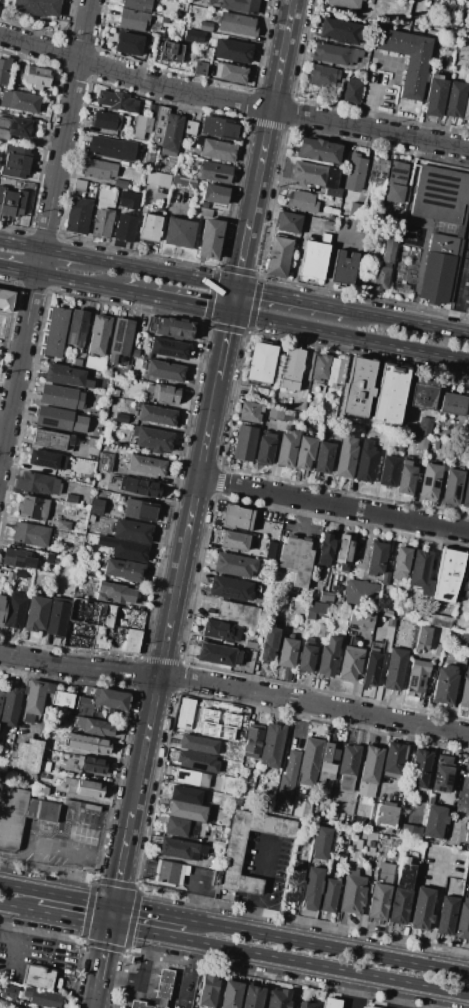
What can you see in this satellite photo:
building: (344, 3)
building: (138, 5)
building: (240, 6)
building: (37, 7)
building: (133, 20)
building: (237, 24)
building: (206, 26)
building: (340, 31)
building: (149, 38)
building: (128, 41)
building: (233, 51)
building: (170, 52)
building: (146, 53)
building: (334, 54)
building: (407, 58)
building: (360, 64)
building: (199, 68)
building: (4, 70)
building: (233, 73)
building: (36, 76)
building: (323, 77)
building: (351, 91)
building: (435, 96)
building: (455, 99)
road: (232, 100)
road: (371, 100)
building: (19, 101)
building: (118, 101)
building: (466, 108)
road: (272, 109)
building: (106, 121)
building: (142, 126)
building: (14, 127)
building: (190, 127)
building: (221, 128)
building: (167, 131)
building: (112, 148)
building: (216, 149)
building: (319, 151)
building: (16, 161)
building: (99, 169)
building: (215, 172)
building: (354, 172)
building: (378, 174)
building: (396, 176)
building: (316, 177)
building: (158, 179)
building: (183, 183)
building: (120, 184)
building: (79, 185)
building: (215, 194)
building: (443, 195)
building: (396, 197)
building: (302, 201)
building: (11, 202)
building: (356, 211)
building: (205, 212)
building: (78, 215)
building: (103, 222)
building: (288, 222)
road: (161, 225)
building: (328, 225)
building: (150, 227)
building: (126, 228)
building: (179, 232)
road: (44, 234)
building: (210, 238)
building: (324, 238)
road: (21, 243)
building: (388, 249)
road: (64, 253)
road: (242, 253)
road: (329, 254)
building: (278, 256)
building: (313, 259)
building: (442, 267)
building: (343, 268)
road: (18, 269)
road: (160, 272)
building: (374, 278)
road: (78, 281)
traffic signals: (235, 287)
road: (461, 295)
road: (292, 298)
road: (232, 299)
building: (6, 301)
road: (174, 301)
building: (467, 309)
traffic signals: (229, 312)
road: (408, 322)
building: (170, 327)
building: (77, 328)
building: (55, 332)
building: (99, 333)
road: (349, 336)
building: (120, 339)
road: (222, 346)
building: (169, 348)
building: (135, 353)
building: (76, 362)
building: (261, 363)
building: (321, 367)
building: (292, 369)
building: (337, 370)
building: (165, 371)
building: (121, 372)
road: (305, 372)
building: (64, 374)
building: (358, 387)
building: (115, 393)
building: (164, 393)
building: (423, 393)
building: (390, 394)
building: (60, 396)
building: (452, 403)
building: (249, 412)
building: (281, 414)
building: (156, 415)
building: (121, 418)
building: (60, 419)
building: (321, 419)
building: (422, 426)
road: (3, 438)
building: (51, 439)
building: (152, 439)
building: (94, 443)
building: (244, 443)
building: (422, 444)
building: (443, 447)
building: (287, 448)
building: (399, 448)
building: (265, 449)
building: (305, 452)
building: (346, 456)
building: (323, 457)
building: (46, 459)
building: (366, 461)
building: (146, 465)
building: (390, 471)
building: (406, 478)
building: (429, 482)
building: (38, 484)
building: (139, 487)
building: (452, 487)
building: (465, 491)
road: (47, 494)
building: (71, 498)
road: (332, 504)
building: (96, 506)
building: (34, 508)
building: (140, 511)
building: (237, 517)
road: (302, 517)
building: (91, 518)
building: (63, 525)
building: (131, 531)
building: (30, 534)
building: (236, 541)
building: (123, 549)
building: (325, 549)
building: (345, 549)
building: (269, 550)
building: (16, 557)
building: (376, 558)
building: (52, 559)
building: (296, 562)
building: (401, 563)
building: (234, 565)
building: (123, 570)
building: (422, 571)
building: (448, 575)
building: (9, 577)
building: (23, 578)
building: (386, 578)
building: (467, 581)
building: (231, 588)
building: (114, 592)
building: (361, 593)
road: (173, 596)
building: (327, 596)
road: (193, 602)
building: (2, 609)
building: (316, 610)
building: (15, 611)
building: (36, 613)
building: (238, 613)
building: (387, 613)
building: (57, 617)
building: (361, 618)
building: (440, 621)
building: (390, 623)
building: (98, 629)
building: (320, 630)
building: (222, 631)
building: (464, 637)
building: (423, 638)
building: (269, 642)
building: (251, 643)
building: (438, 650)
building: (218, 654)
building: (287, 656)
building: (306, 656)
building: (328, 656)
building: (350, 663)
building: (371, 668)
building: (395, 669)
building: (417, 678)
building: (445, 684)
road: (235, 688)
building: (464, 691)
building: (1, 695)
building: (34, 698)
building: (110, 699)
building: (64, 700)
building: (10, 706)
road: (41, 706)
building: (84, 707)
building: (94, 727)
building: (220, 731)
building: (119, 736)
building: (253, 741)
building: (89, 743)
building: (198, 744)
building: (272, 745)
building: (26, 755)
road: (405, 759)
building: (393, 760)
building: (197, 761)
building: (329, 761)
road: (358, 761)
building: (309, 762)
building: (91, 764)
building: (44, 766)
building: (348, 768)
building: (420, 769)
building: (370, 771)
building: (69, 773)
building: (442, 773)
building: (191, 778)
building: (288, 779)
building: (42, 788)
building: (83, 788)
building: (185, 794)
building: (80, 805)
building: (299, 807)
building: (186, 811)
building: (20, 814)
building: (384, 816)
building: (435, 821)
building: (180, 827)
building: (410, 831)
building: (354, 834)
building: (345, 835)
building: (321, 843)
building: (371, 844)
building: (358, 846)
building: (180, 849)
road: (120, 857)
building: (232, 857)
road: (137, 865)
building: (169, 872)
road: (171, 872)
building: (294, 883)
road: (266, 885)
building: (312, 888)
building: (402, 891)
road: (55, 892)
road: (192, 893)
building: (353, 893)
building: (329, 896)
building: (380, 897)
traffic signals: (112, 903)
road: (435, 908)
road: (15, 909)
building: (421, 909)
road: (150, 910)
road: (109, 915)
building: (447, 916)
road: (69, 920)
building: (463, 921)
traffic signals: (107, 928)
road: (4, 934)
road: (329, 945)
road: (146, 958)
road: (101, 961)
road: (288, 962)
road: (188, 966)
road: (120, 976)
building: (37, 977)
road: (149, 981)
road: (163, 984)
road: (177, 986)
building: (157, 991)
building: (208, 991)
building: (10, 992)
road: (354, 992)
road: (149, 993)
building: (231, 995)
building: (42, 997)
building: (253, 997)
road: (181, 998)
building: (278, 999)
road: (92, 1001)
building: (1, 1003)
building: (331, 1003)
building: (305, 1004)
road: (146, 1006)
building: (30, 1007)
building: (366, 1007)

